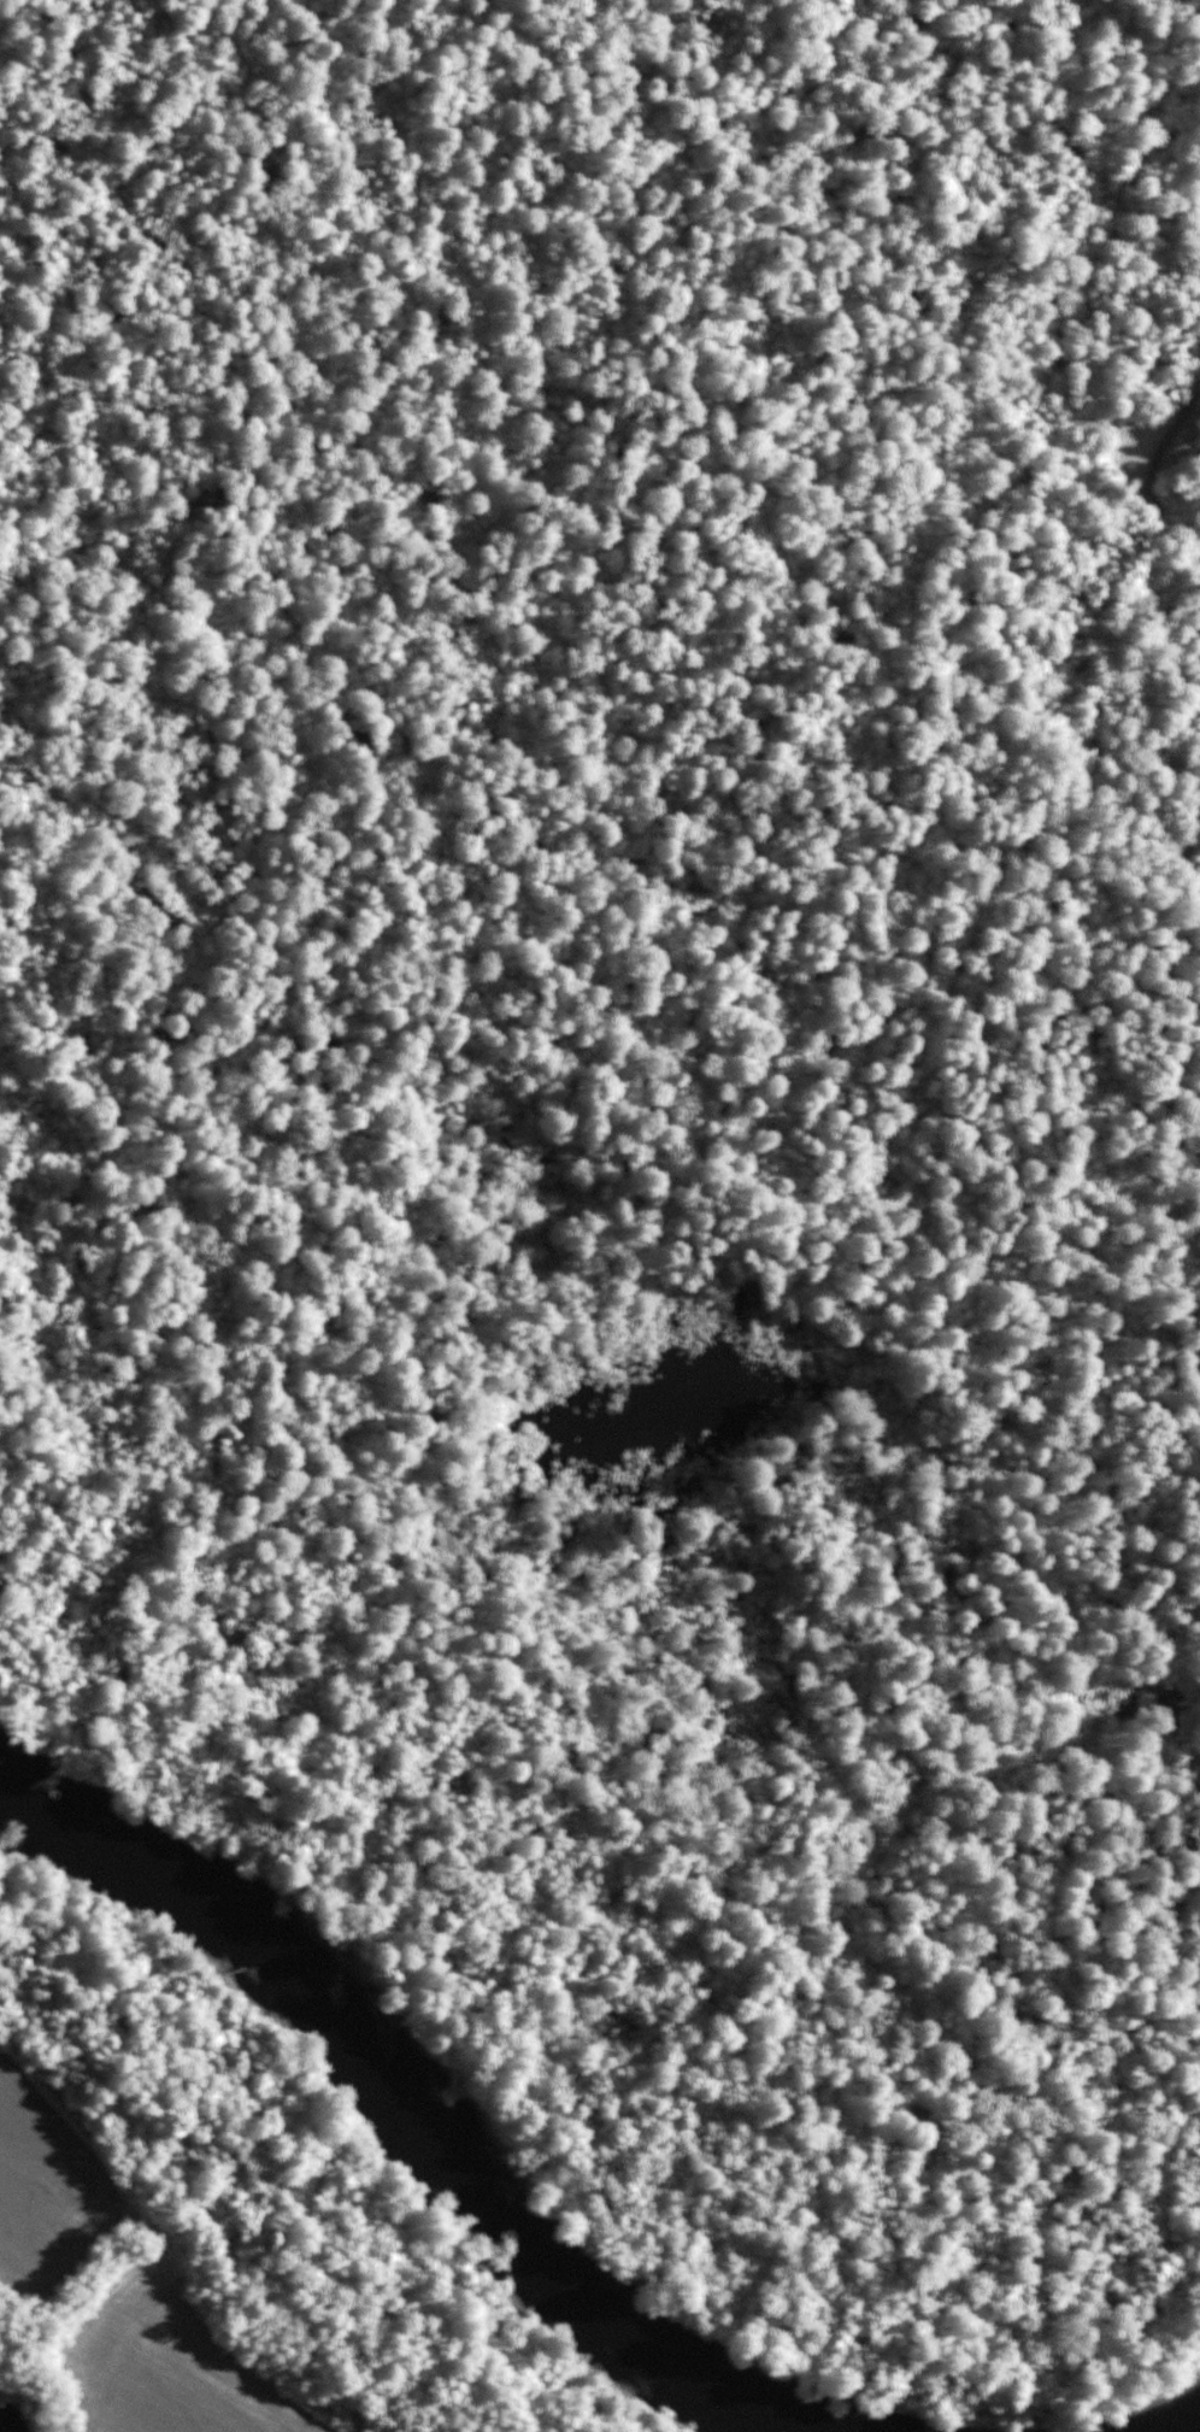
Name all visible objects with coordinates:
river: (401, 2096)
river: (1194, 2430)

